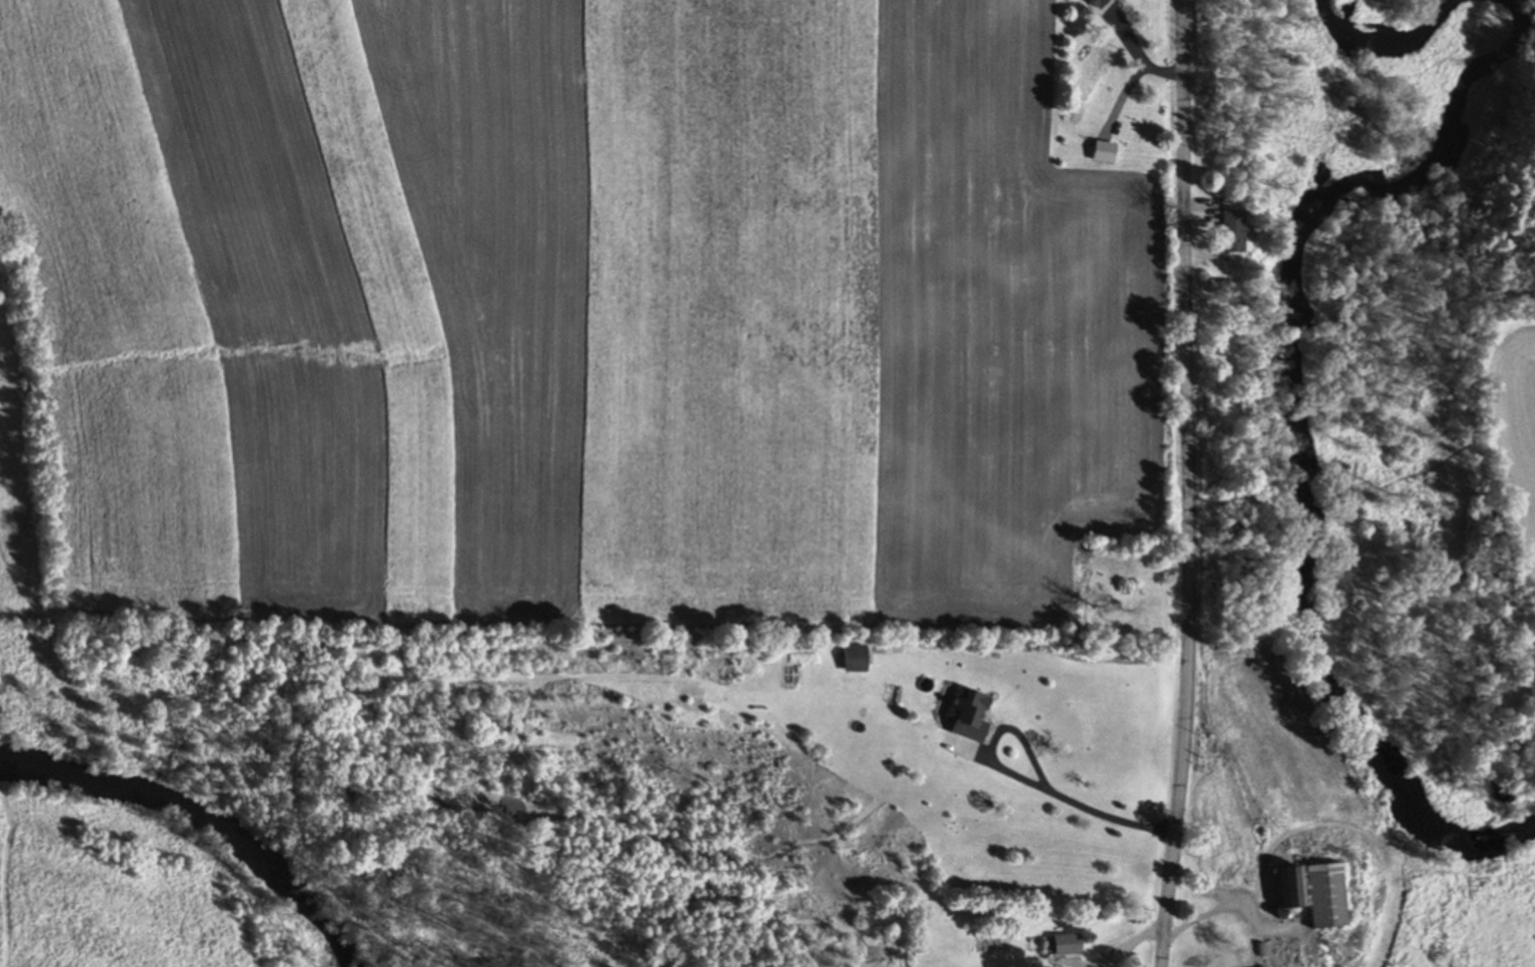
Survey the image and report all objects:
building: (1090, 4)
river: (1382, 42)
road: (1135, 55)
building: (1100, 154)
building: (1224, 233)
river: (1295, 435)
road: (1188, 484)
building: (850, 659)
building: (962, 716)
road: (1026, 783)
river: (206, 823)
building: (1227, 856)
building: (1281, 889)
building: (1316, 898)
building: (1063, 947)
building: (1281, 950)

